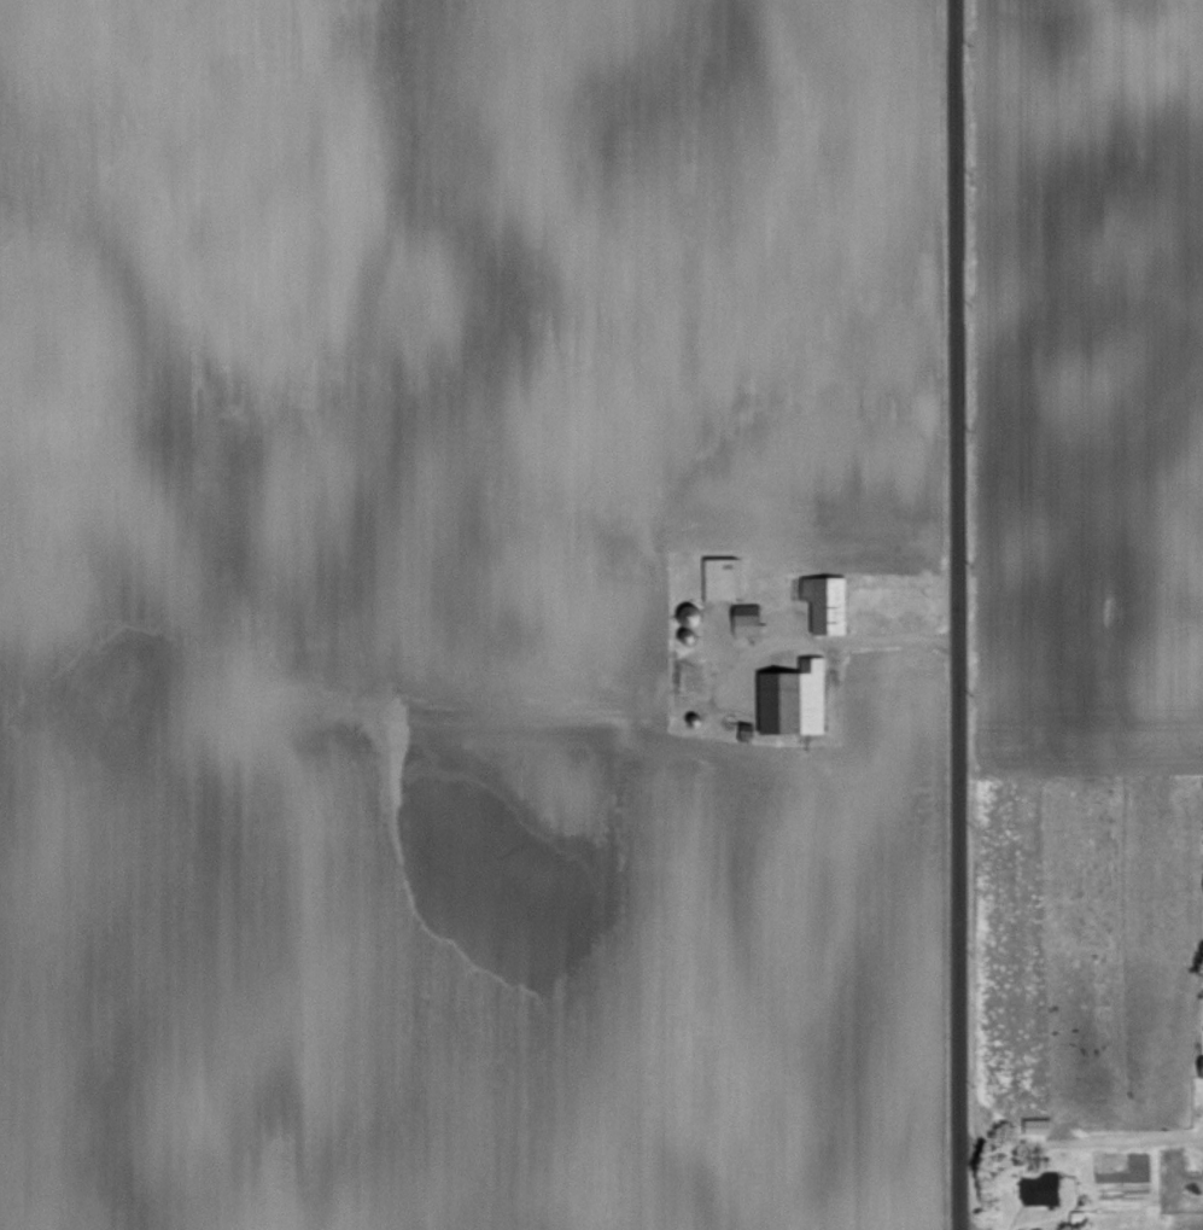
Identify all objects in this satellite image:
building: (724, 572)
building: (828, 600)
road: (954, 614)
road: (883, 640)
building: (795, 695)
building: (1039, 1124)
road: (1080, 1141)

